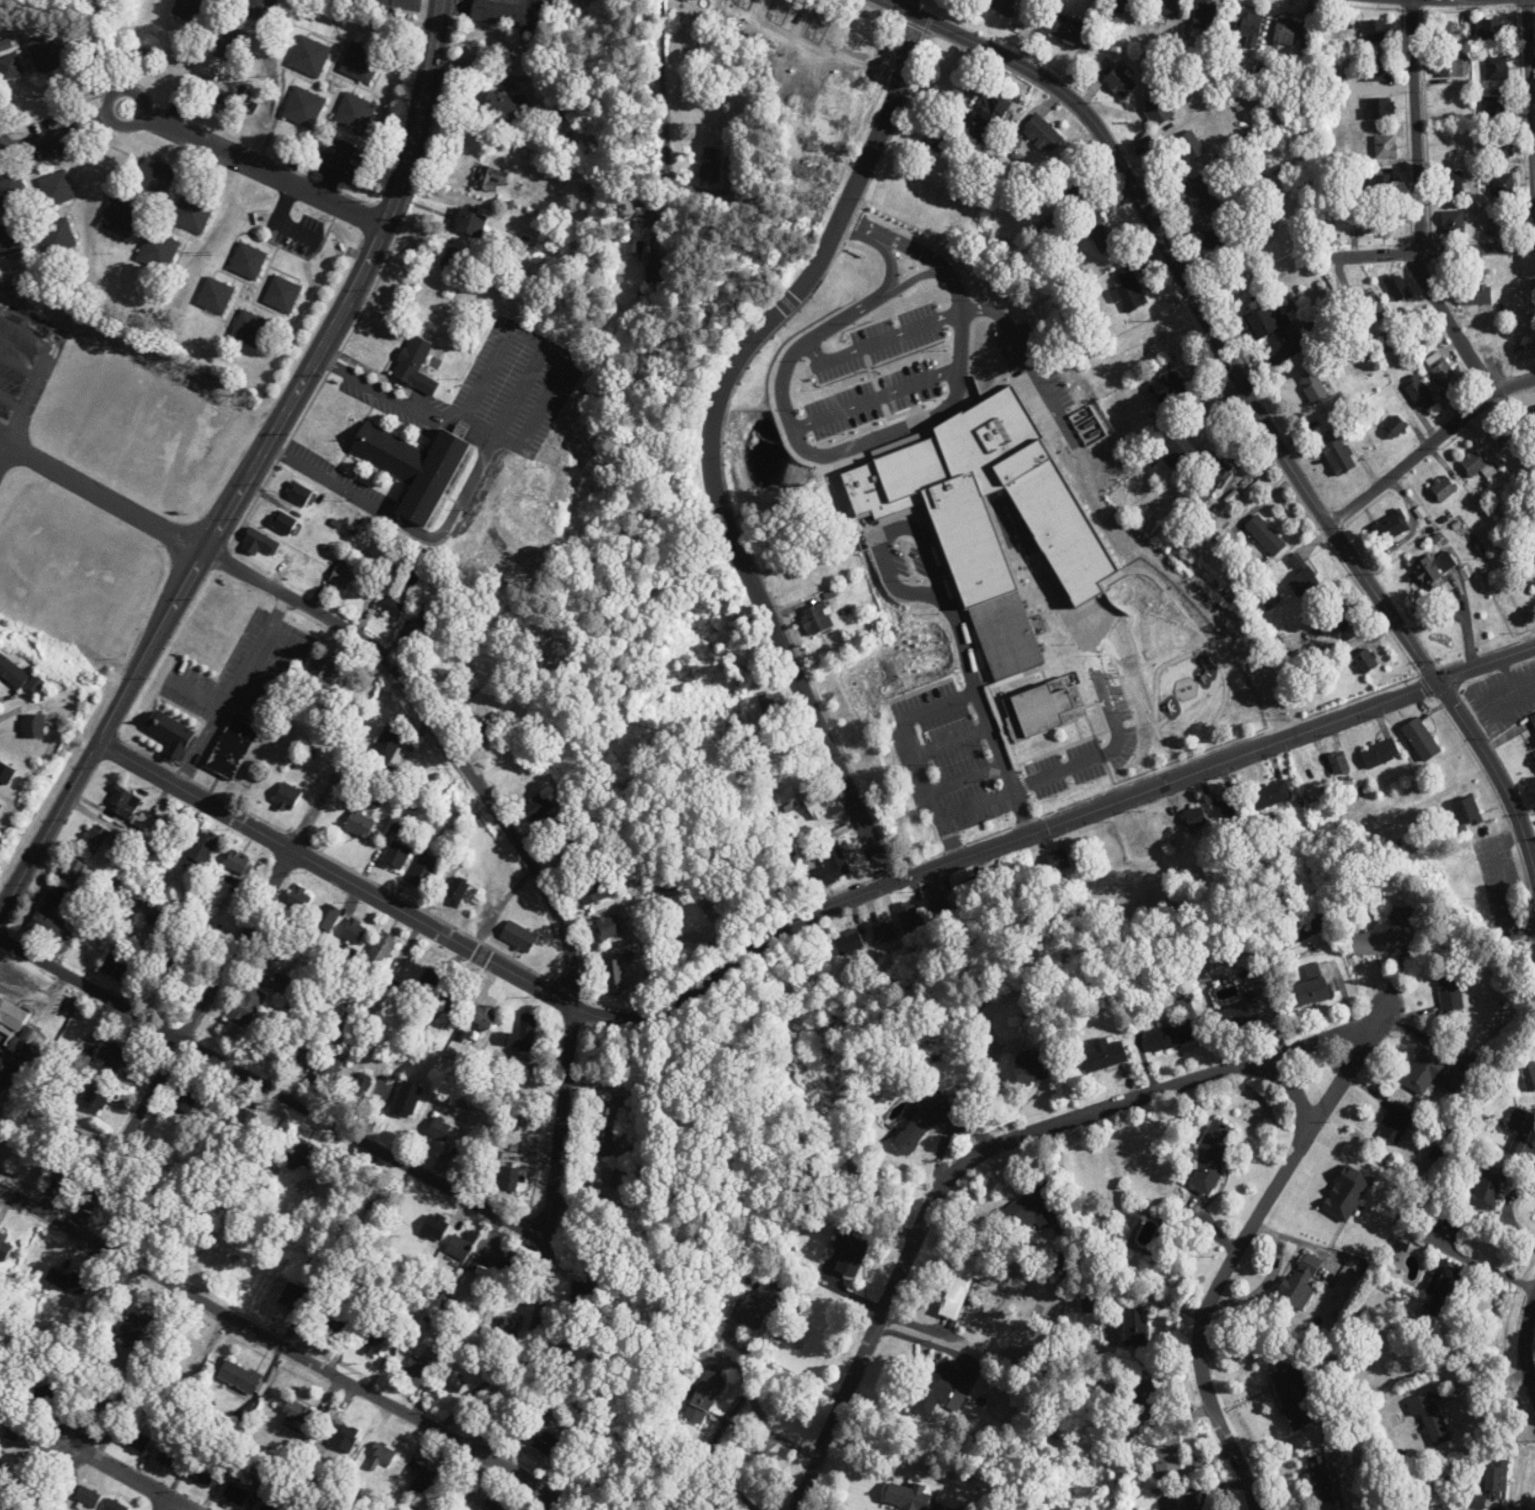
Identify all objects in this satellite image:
building: (688, 1)
road: (413, 4)
road: (896, 7)
road: (912, 7)
building: (1003, 7)
building: (1124, 7)
building: (1168, 7)
building: (190, 10)
building: (257, 10)
building: (1204, 14)
building: (504, 18)
building: (1067, 29)
building: (1249, 29)
building: (1491, 31)
building: (1445, 32)
building: (1289, 33)
building: (1376, 36)
building: (225, 42)
building: (48, 54)
road: (661, 54)
building: (310, 58)
building: (8, 62)
building: (360, 63)
building: (1448, 68)
building: (1378, 70)
building: (1497, 70)
road: (1531, 81)
building: (1119, 83)
road: (191, 91)
building: (505, 107)
building: (304, 108)
building: (1496, 108)
building: (1379, 109)
building: (1157, 111)
road: (420, 113)
building: (355, 114)
building: (989, 118)
road: (62, 130)
building: (1044, 134)
building: (1453, 144)
building: (1503, 146)
building: (1190, 147)
building: (1385, 147)
road: (255, 165)
building: (710, 165)
building: (154, 179)
building: (491, 179)
building: (1451, 183)
building: (1383, 185)
building: (1503, 185)
building: (56, 189)
building: (1073, 191)
building: (7, 193)
building: (1201, 196)
road: (1418, 205)
building: (192, 214)
building: (120, 217)
road: (277, 219)
building: (1453, 222)
building: (468, 223)
building: (1382, 223)
building: (1505, 225)
road: (857, 231)
building: (57, 237)
building: (12, 238)
building: (1216, 239)
building: (641, 240)
building: (1104, 241)
road: (1436, 251)
building: (158, 252)
building: (248, 262)
building: (452, 262)
building: (655, 270)
building: (1534, 287)
building: (1397, 288)
building: (1130, 290)
building: (282, 295)
building: (215, 297)
building: (1474, 297)
building: (1372, 305)
building: (1267, 321)
building: (250, 330)
road: (544, 348)
building: (1525, 352)
road: (1027, 360)
road: (46, 363)
building: (415, 366)
road: (20, 367)
building: (1442, 371)
road: (377, 387)
building: (1168, 388)
building: (1314, 388)
building: (1418, 394)
road: (13, 403)
road: (1257, 407)
road: (844, 409)
building: (1530, 422)
building: (1395, 428)
building: (1506, 435)
road: (5, 438)
road: (712, 440)
road: (1428, 445)
building: (1178, 451)
road: (5, 452)
road: (278, 452)
building: (1339, 457)
building: (1477, 465)
building: (415, 467)
building: (1212, 483)
building: (1444, 489)
road: (109, 494)
building: (299, 494)
building: (284, 523)
road: (449, 527)
building: (1390, 528)
building: (1266, 536)
building: (259, 544)
building: (1434, 568)
road: (193, 570)
building: (1302, 577)
building: (342, 578)
building: (398, 604)
road: (946, 615)
building: (817, 620)
building: (1332, 620)
building: (419, 624)
building: (1006, 637)
building: (1366, 662)
building: (17, 675)
building: (321, 675)
road: (233, 689)
building: (1121, 704)
building: (767, 707)
building: (1532, 722)
road: (899, 724)
building: (33, 727)
building: (478, 728)
building: (173, 736)
building: (1422, 740)
building: (388, 745)
building: (233, 748)
road: (1092, 752)
building: (1380, 754)
building: (1313, 774)
building: (1270, 796)
building: (287, 797)
road: (970, 797)
building: (819, 802)
building: (0, 806)
building: (537, 807)
building: (128, 809)
road: (313, 814)
building: (1466, 814)
building: (1196, 819)
building: (360, 824)
road: (1045, 827)
road: (941, 835)
building: (94, 838)
building: (567, 851)
building: (200, 852)
building: (396, 856)
building: (1060, 862)
building: (237, 863)
building: (832, 867)
building: (73, 870)
building: (423, 872)
road: (336, 874)
road: (1499, 879)
building: (973, 891)
building: (456, 892)
building: (594, 893)
building: (59, 898)
building: (299, 899)
building: (938, 902)
building: (326, 918)
building: (909, 919)
building: (46, 927)
building: (609, 928)
building: (354, 932)
road: (560, 932)
building: (884, 934)
building: (519, 937)
building: (849, 944)
building: (1380, 944)
building: (381, 950)
building: (114, 966)
building: (616, 977)
building: (433, 980)
building: (278, 984)
building: (1309, 989)
building: (1449, 991)
building: (455, 1003)
building: (246, 1007)
building: (1237, 1013)
building: (12, 1017)
building: (483, 1018)
road: (1328, 1032)
building: (1175, 1036)
building: (520, 1037)
road: (179, 1038)
building: (21, 1049)
building: (300, 1055)
building: (1104, 1056)
building: (114, 1058)
building: (1035, 1068)
road: (1348, 1068)
building: (1433, 1075)
building: (1529, 1077)
road: (999, 1086)
road: (270, 1094)
building: (186, 1096)
building: (406, 1101)
building: (93, 1102)
building: (609, 1110)
building: (531, 1122)
building: (1521, 1122)
building: (924, 1123)
building: (1396, 1124)
building: (439, 1129)
building: (604, 1141)
building: (300, 1155)
road: (969, 1156)
building: (1211, 1158)
building: (53, 1164)
building: (508, 1180)
building: (603, 1180)
building: (1487, 1186)
road: (1507, 1213)
building: (1026, 1214)
building: (159, 1224)
building: (435, 1228)
building: (4, 1249)
building: (459, 1249)
building: (850, 1254)
building: (516, 1264)
road: (1490, 1269)
building: (1301, 1283)
building: (961, 1285)
building: (1442, 1289)
building: (292, 1297)
building: (759, 1306)
road: (1205, 1307)
building: (334, 1324)
building: (1136, 1328)
building: (133, 1329)
building: (374, 1342)
road: (1526, 1344)
road: (935, 1346)
road: (284, 1347)
road: (778, 1367)
building: (417, 1368)
building: (242, 1379)
building: (451, 1384)
building: (937, 1391)
building: (707, 1392)
building: (45, 1393)
building: (1295, 1396)
building: (1145, 1400)
building: (296, 1414)
building: (1430, 1419)
building: (13, 1430)
building: (344, 1439)
building: (137, 1442)
building: (542, 1442)
building: (1167, 1455)
building: (381, 1458)
building: (169, 1459)
road: (126, 1476)
building: (202, 1477)
building: (1322, 1480)
building: (1496, 1480)
building: (422, 1484)
building: (235, 1495)
building: (87, 1498)
building: (910, 1498)
building: (1197, 1502)
building: (114, 1506)
road: (169, 1506)
building: (265, 1508)
road: (568, 1508)

